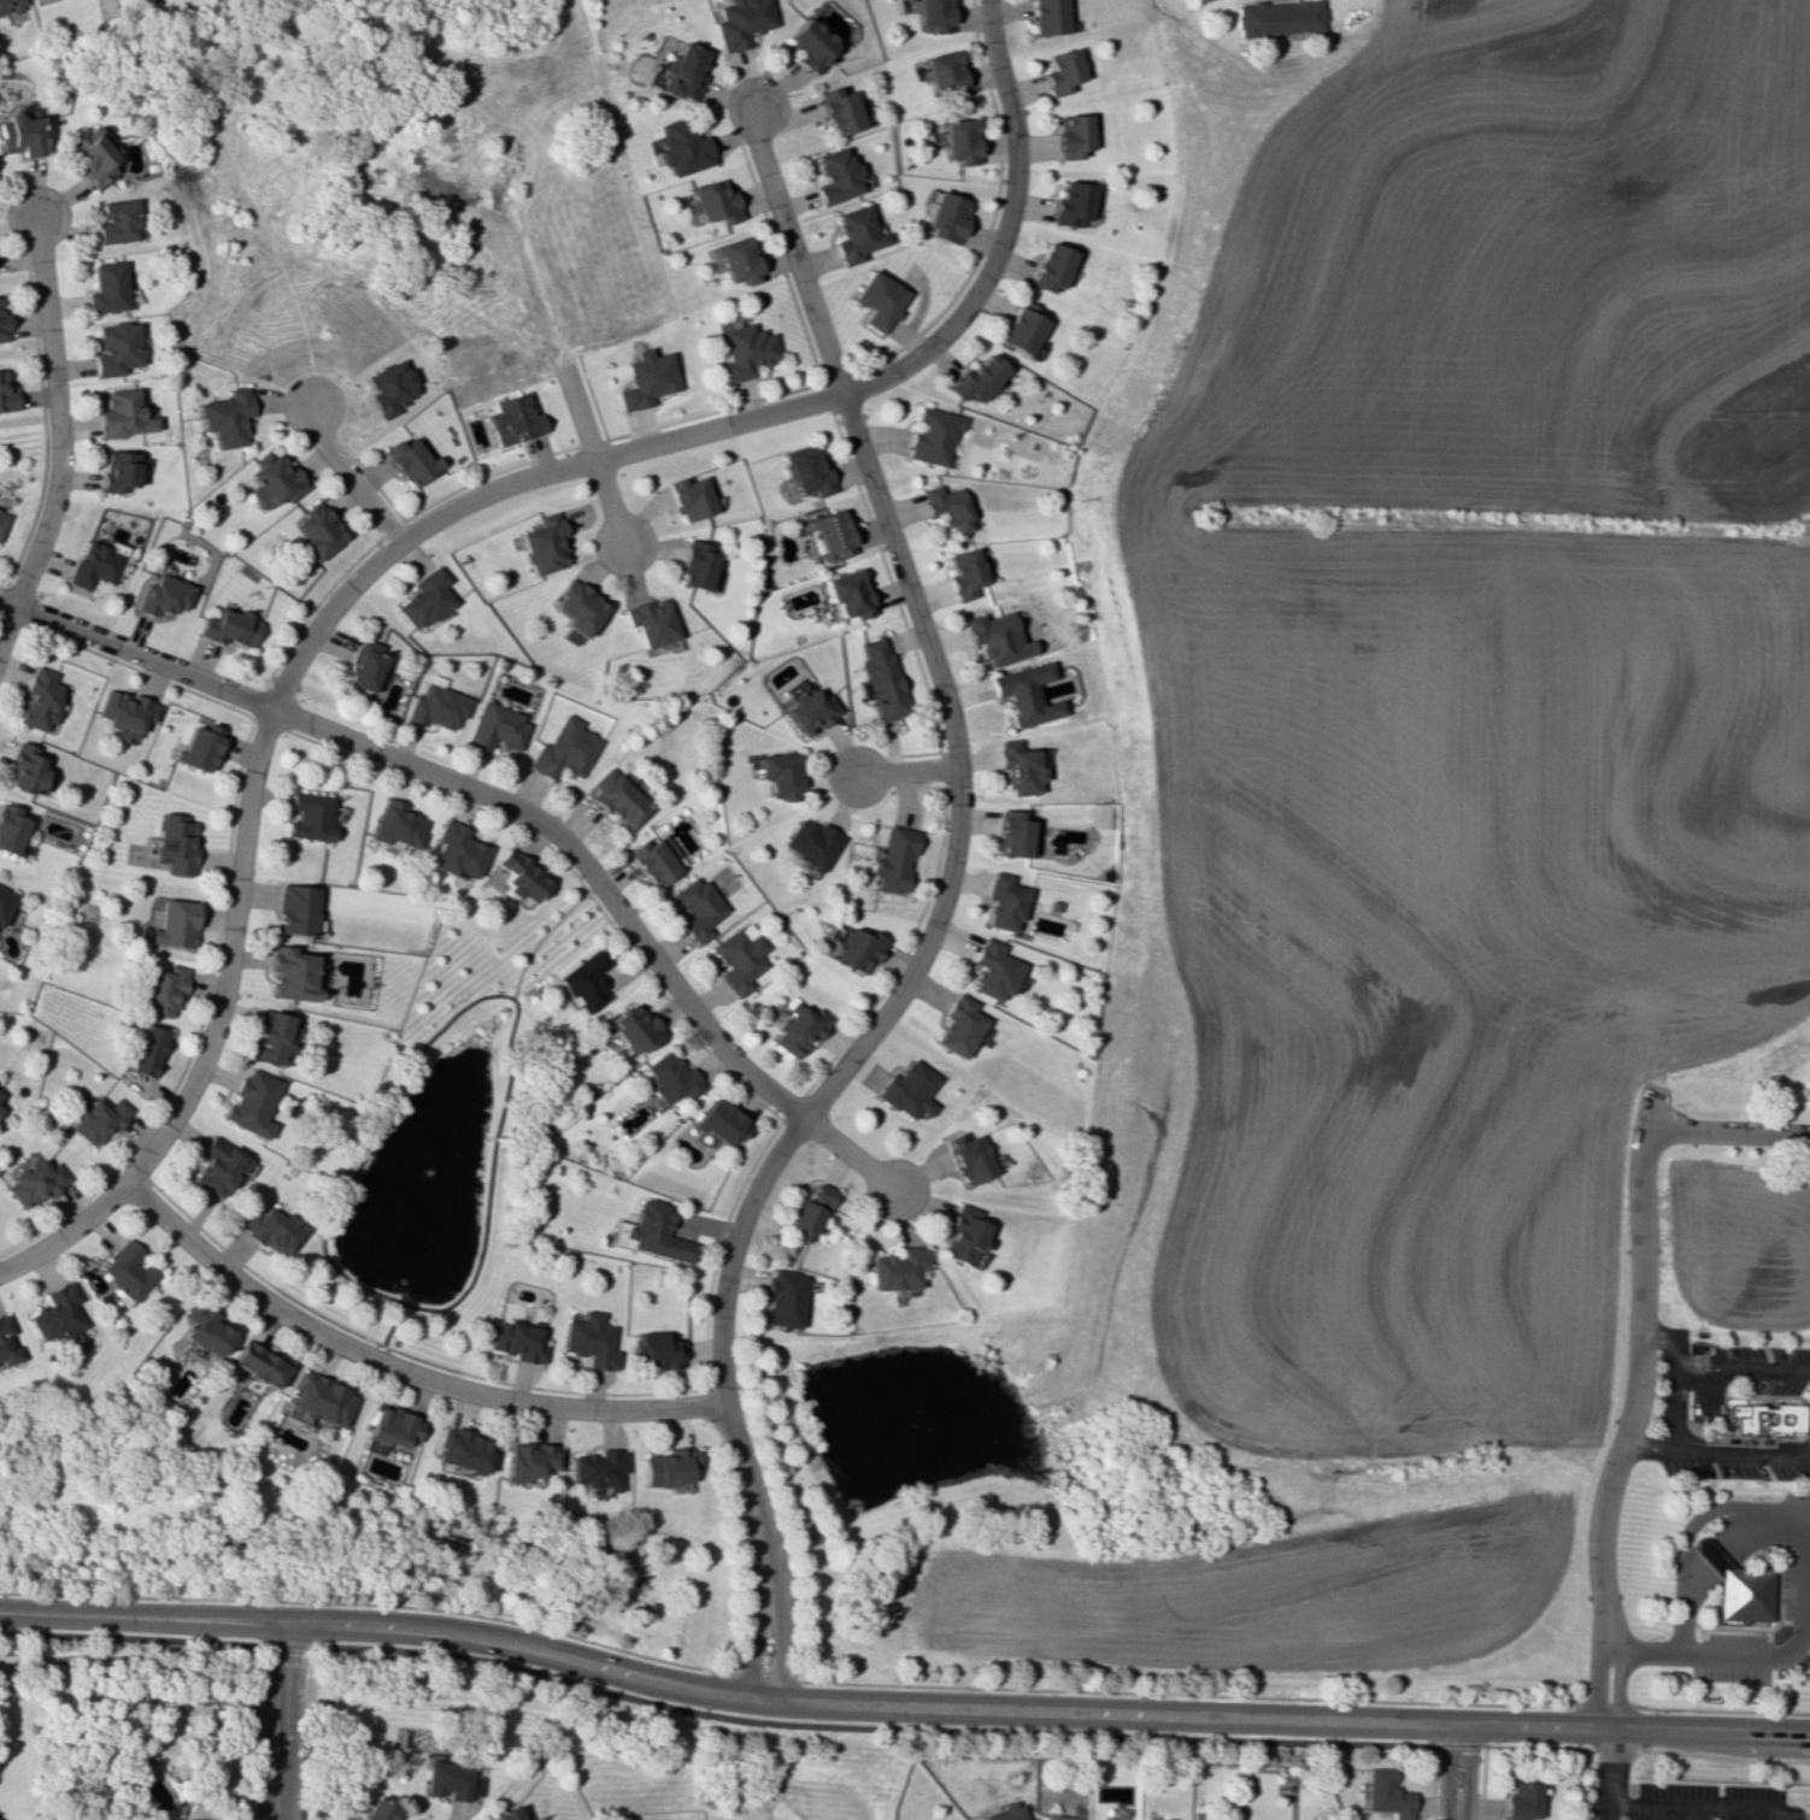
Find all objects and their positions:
building: (1201, 0)
building: (8, 4)
building: (930, 13)
building: (1047, 16)
building: (1280, 17)
building: (740, 22)
building: (811, 43)
building: (1062, 71)
building: (681, 72)
building: (944, 73)
building: (839, 111)
building: (19, 135)
building: (1073, 135)
building: (959, 141)
building: (682, 147)
building: (90, 155)
building: (836, 176)
building: (713, 201)
building: (1073, 204)
building: (947, 218)
building: (114, 222)
road: (1001, 231)
building: (854, 235)
building: (737, 260)
building: (1053, 266)
building: (104, 288)
building: (878, 300)
building: (2, 328)
building: (1022, 328)
building: (113, 348)
building: (744, 352)
building: (977, 378)
building: (645, 379)
building: (387, 387)
building: (6, 396)
road: (55, 412)
building: (121, 414)
building: (223, 417)
building: (511, 418)
building: (933, 435)
road: (593, 455)
building: (406, 460)
building: (117, 470)
building: (805, 471)
road: (348, 476)
building: (271, 481)
building: (687, 497)
building: (947, 508)
building: (2, 520)
building: (315, 530)
building: (830, 532)
building: (540, 544)
building: (95, 563)
building: (693, 565)
building: (965, 572)
building: (846, 594)
building: (164, 595)
building: (423, 597)
building: (575, 608)
building: (648, 622)
road: (7, 624)
building: (228, 628)
building: (994, 638)
building: (363, 665)
building: (880, 678)
building: (1023, 694)
crop: (1474, 697)
road: (276, 699)
building: (39, 700)
building: (436, 705)
building: (124, 713)
building: (809, 713)
building: (495, 728)
building: (199, 747)
building: (562, 749)
building: (1018, 767)
building: (24, 768)
road: (907, 772)
building: (777, 774)
building: (616, 799)
road: (509, 807)
building: (308, 815)
building: (395, 825)
building: (8, 829)
road: (959, 829)
building: (1012, 835)
building: (174, 843)
building: (810, 843)
building: (454, 850)
building: (654, 859)
building: (893, 859)
building: (516, 876)
building: (4, 901)
building: (1004, 902)
building: (697, 908)
building: (295, 909)
building: (172, 924)
building: (858, 949)
building: (740, 958)
building: (994, 970)
building: (290, 973)
building: (584, 980)
building: (161, 991)
road: (466, 1006)
building: (958, 1026)
building: (799, 1030)
building: (633, 1031)
building: (271, 1037)
building: (145, 1050)
building: (670, 1077)
building: (907, 1090)
building: (249, 1103)
building: (96, 1119)
building: (721, 1121)
road: (1728, 1131)
building: (966, 1158)
building: (217, 1167)
building: (34, 1183)
building: (809, 1212)
building: (270, 1230)
building: (654, 1232)
building: (960, 1235)
building: (894, 1268)
building: (129, 1271)
building: (782, 1298)
building: (57, 1313)
building: (204, 1329)
building: (588, 1339)
building: (6, 1342)
building: (516, 1342)
building: (656, 1350)
road: (1636, 1357)
building: (257, 1363)
road: (396, 1370)
road: (1709, 1377)
parking lot: (1689, 1398)
building: (321, 1400)
road: (1669, 1410)
building: (1759, 1416)
building: (390, 1427)
building: (463, 1450)
road: (1715, 1450)
building: (528, 1459)
building: (665, 1466)
building: (595, 1468)
road: (1806, 1548)
road: (733, 1549)
road: (1721, 1551)
building: (1735, 1586)
crop: (1263, 1594)
road: (368, 1604)
road: (778, 1606)
road: (757, 1607)
road: (1618, 1674)
road: (1594, 1675)
road: (1140, 1692)
road: (900, 1706)
road: (278, 1721)
road: (799, 1724)
road: (1708, 1756)
road: (1455, 1772)
road: (1606, 1774)
building: (445, 1779)
building: (1386, 1794)
building: (1522, 1801)
parking lot: (1708, 1802)
road: (1702, 1808)
building: (372, 1810)
building: (1005, 1812)
building: (504, 1814)
road: (1805, 1815)
building: (1056, 1816)
building: (343, 1818)
building: (92, 1819)

